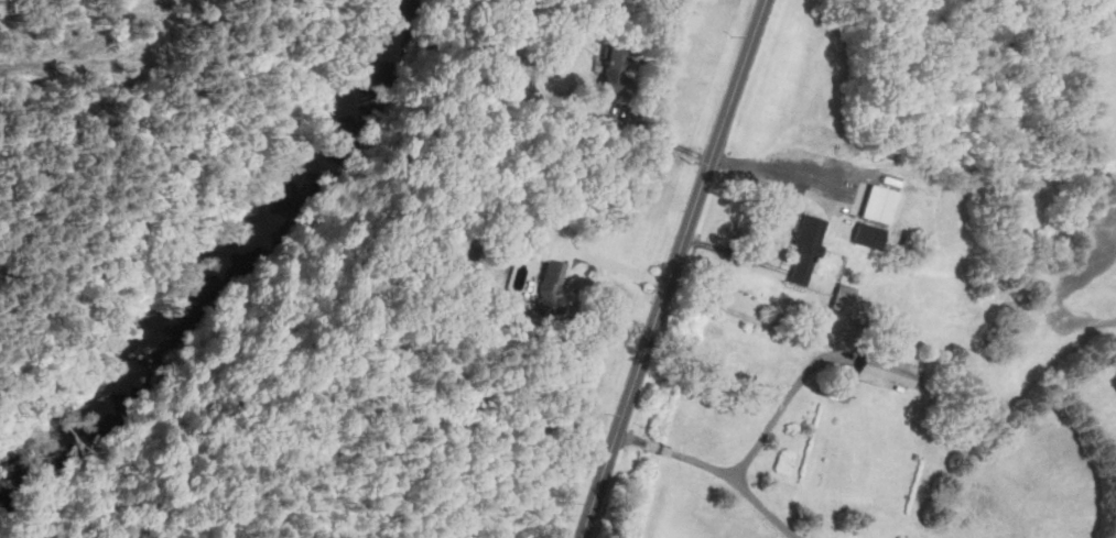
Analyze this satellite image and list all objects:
building: (615, 69)
road: (652, 135)
road: (777, 172)
park: (148, 176)
building: (877, 202)
road: (188, 234)
building: (868, 234)
building: (805, 246)
road: (735, 253)
road: (609, 262)
river: (228, 267)
road: (672, 268)
building: (550, 285)
building: (843, 297)
building: (887, 371)
road: (781, 406)
road: (717, 469)

